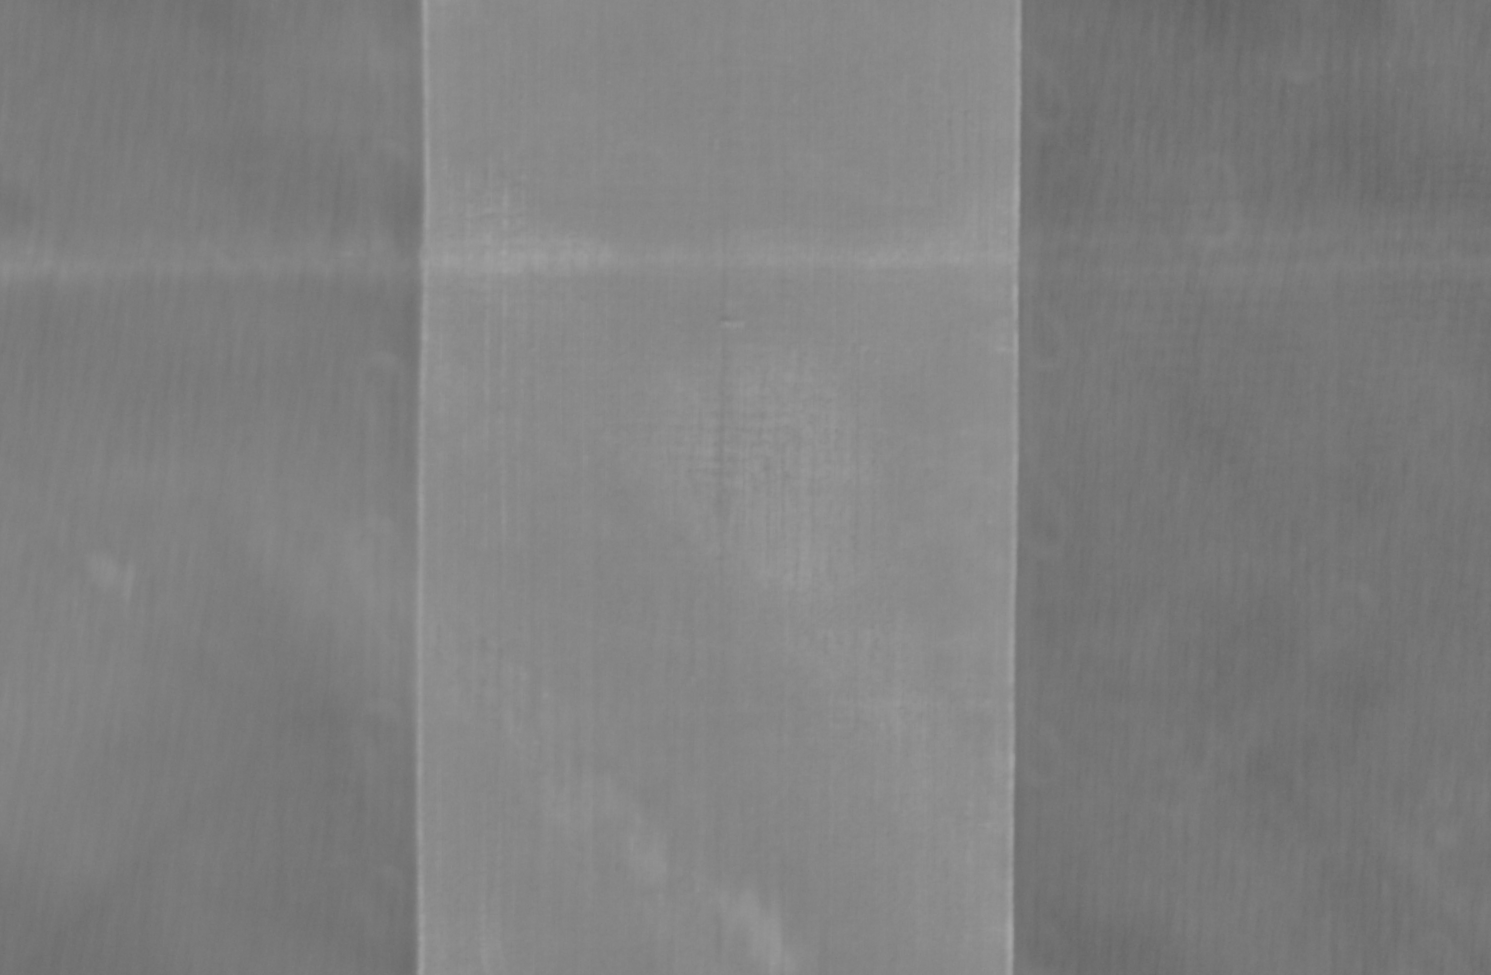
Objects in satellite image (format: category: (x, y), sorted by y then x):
crop: (745, 487)

